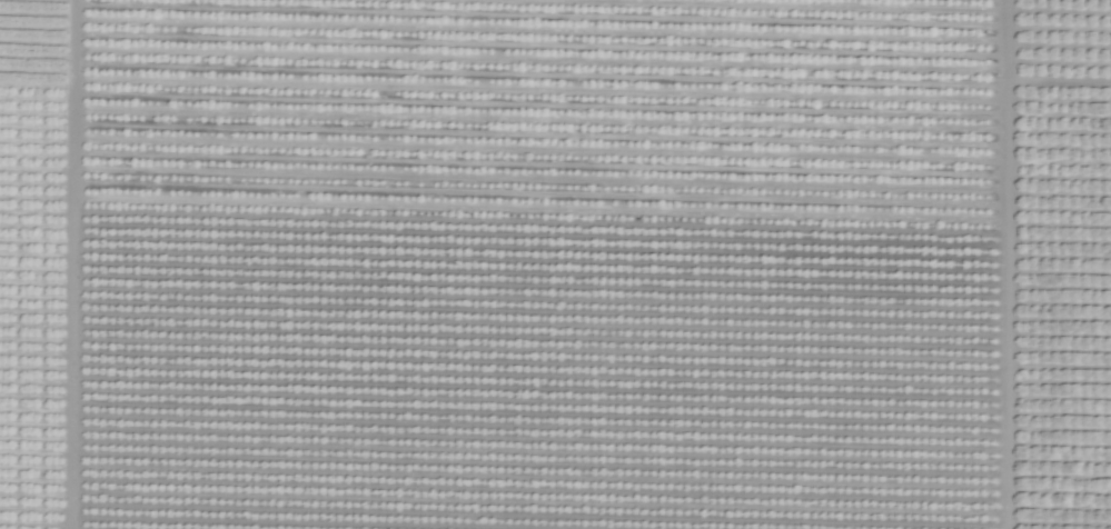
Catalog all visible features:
crop: (555, 264)

